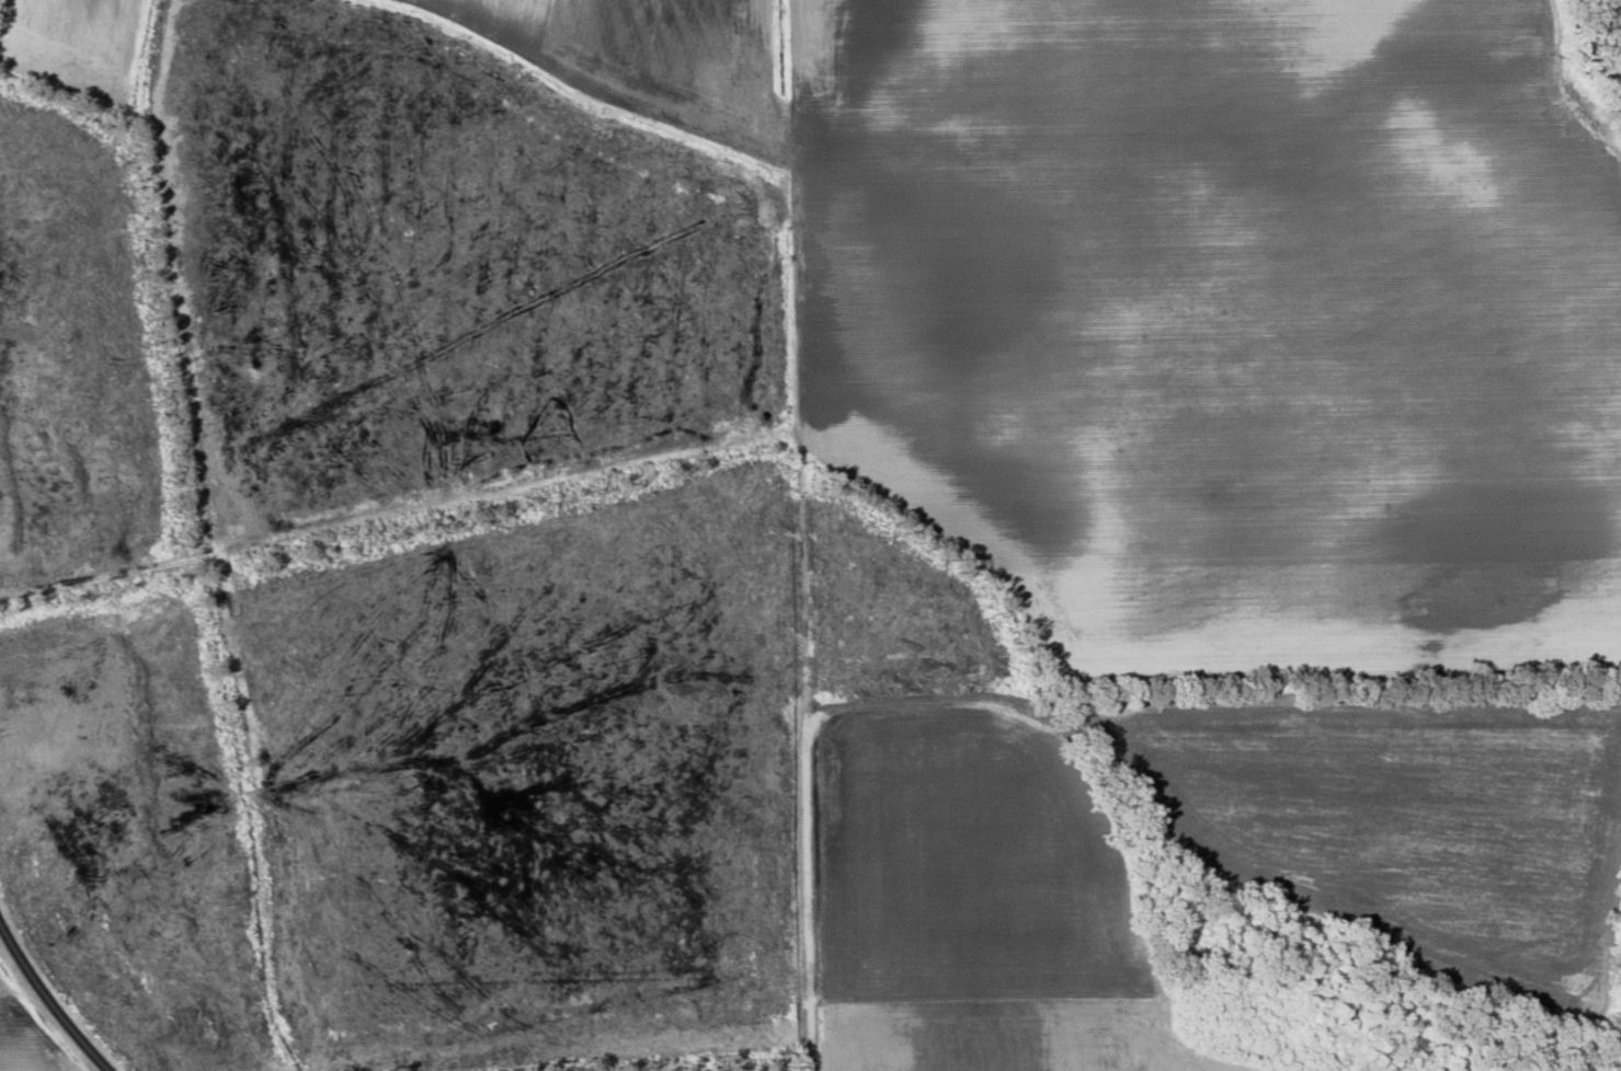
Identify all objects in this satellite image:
road: (50, 1006)

